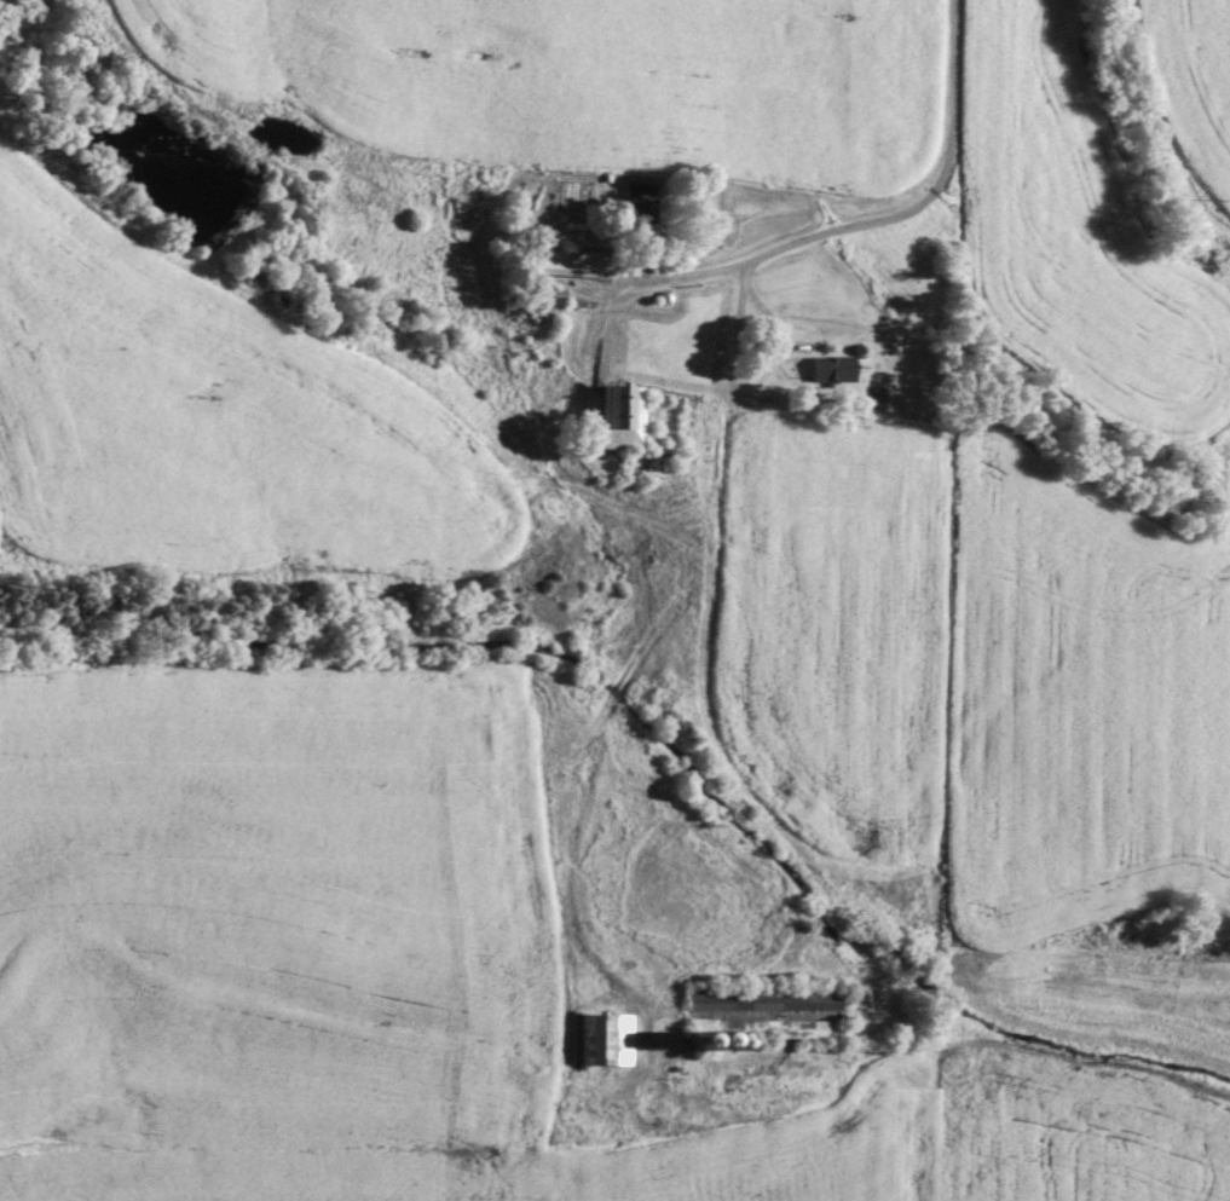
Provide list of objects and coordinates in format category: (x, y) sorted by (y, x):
building: (639, 202)
road: (805, 235)
building: (570, 260)
building: (833, 366)
building: (624, 416)
building: (780, 998)
building: (785, 1028)
building: (602, 1039)

